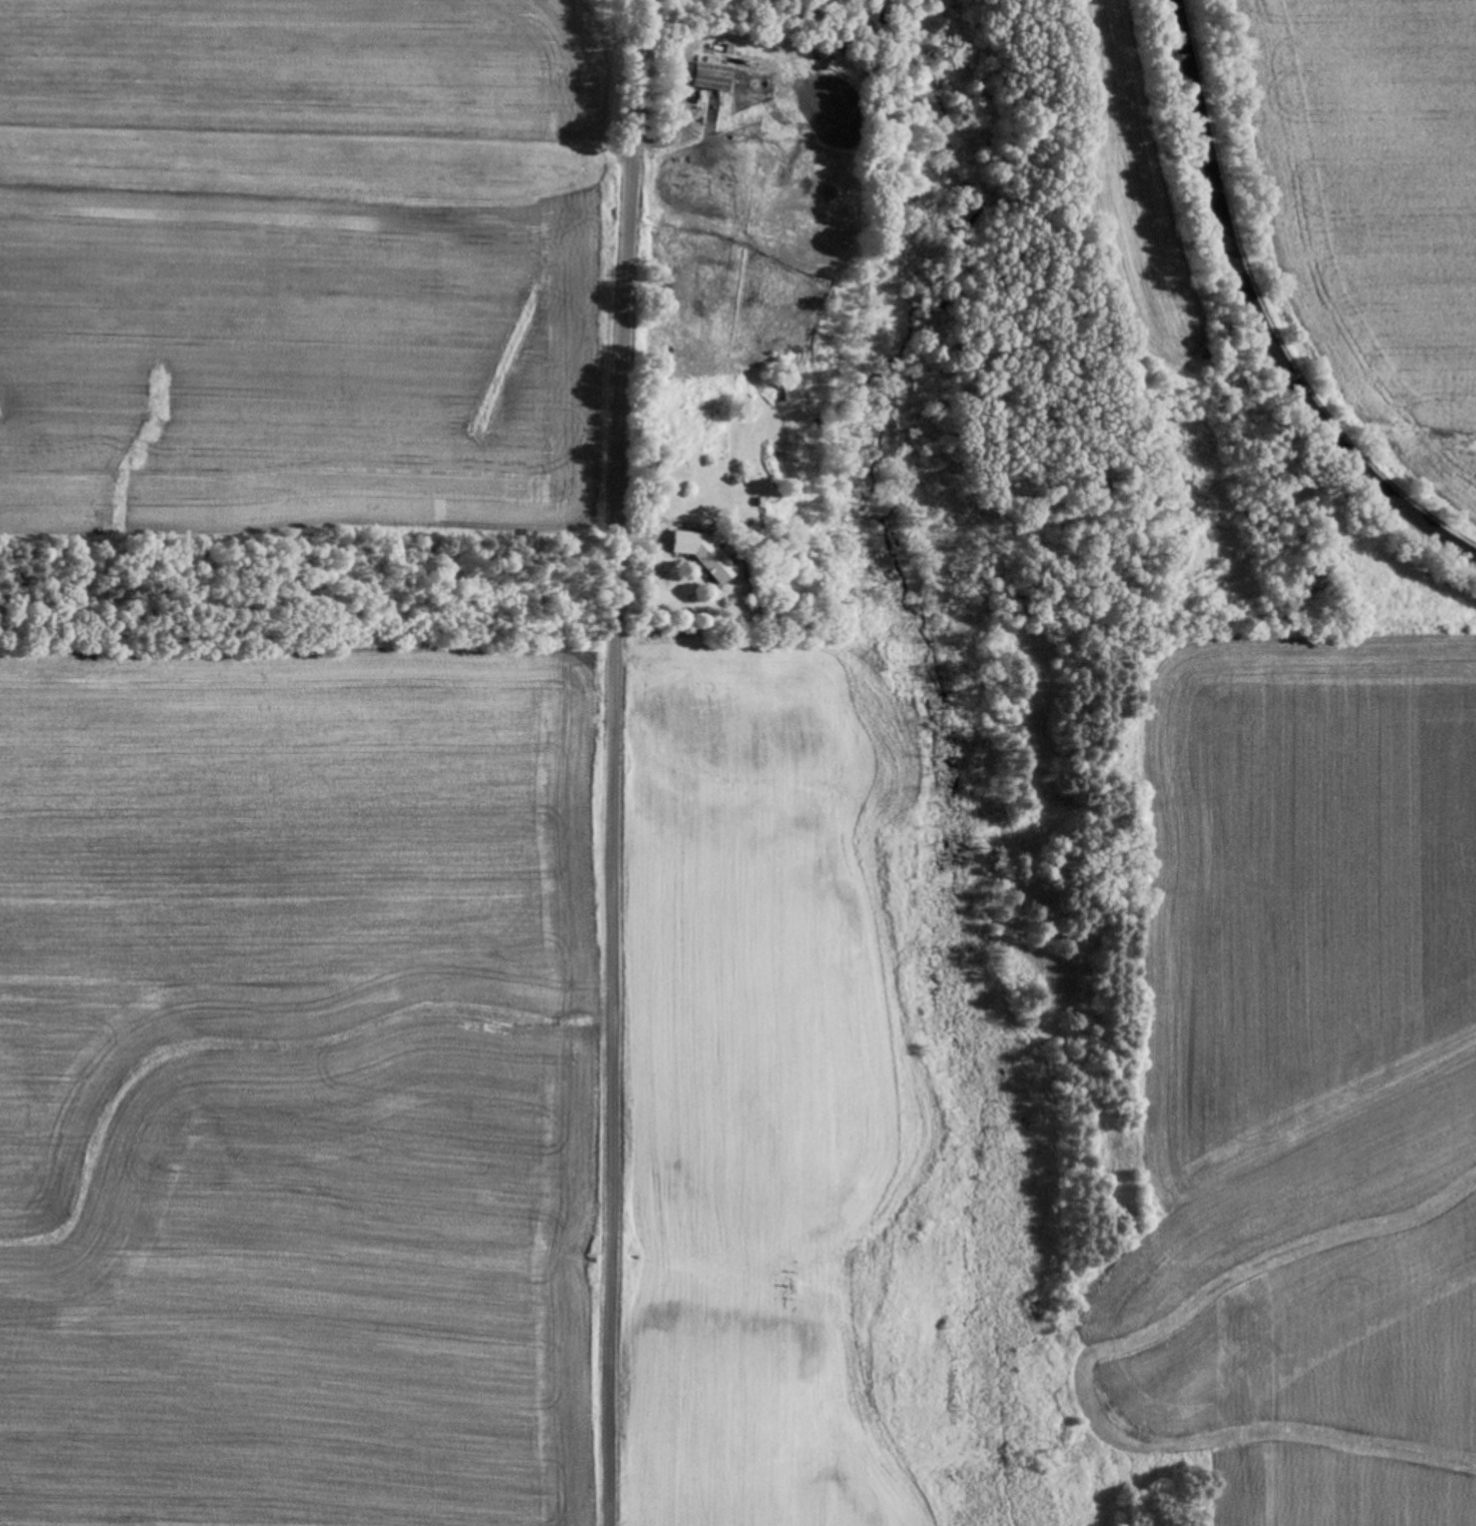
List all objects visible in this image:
road: (1248, 324)
building: (812, 449)
road: (623, 763)

